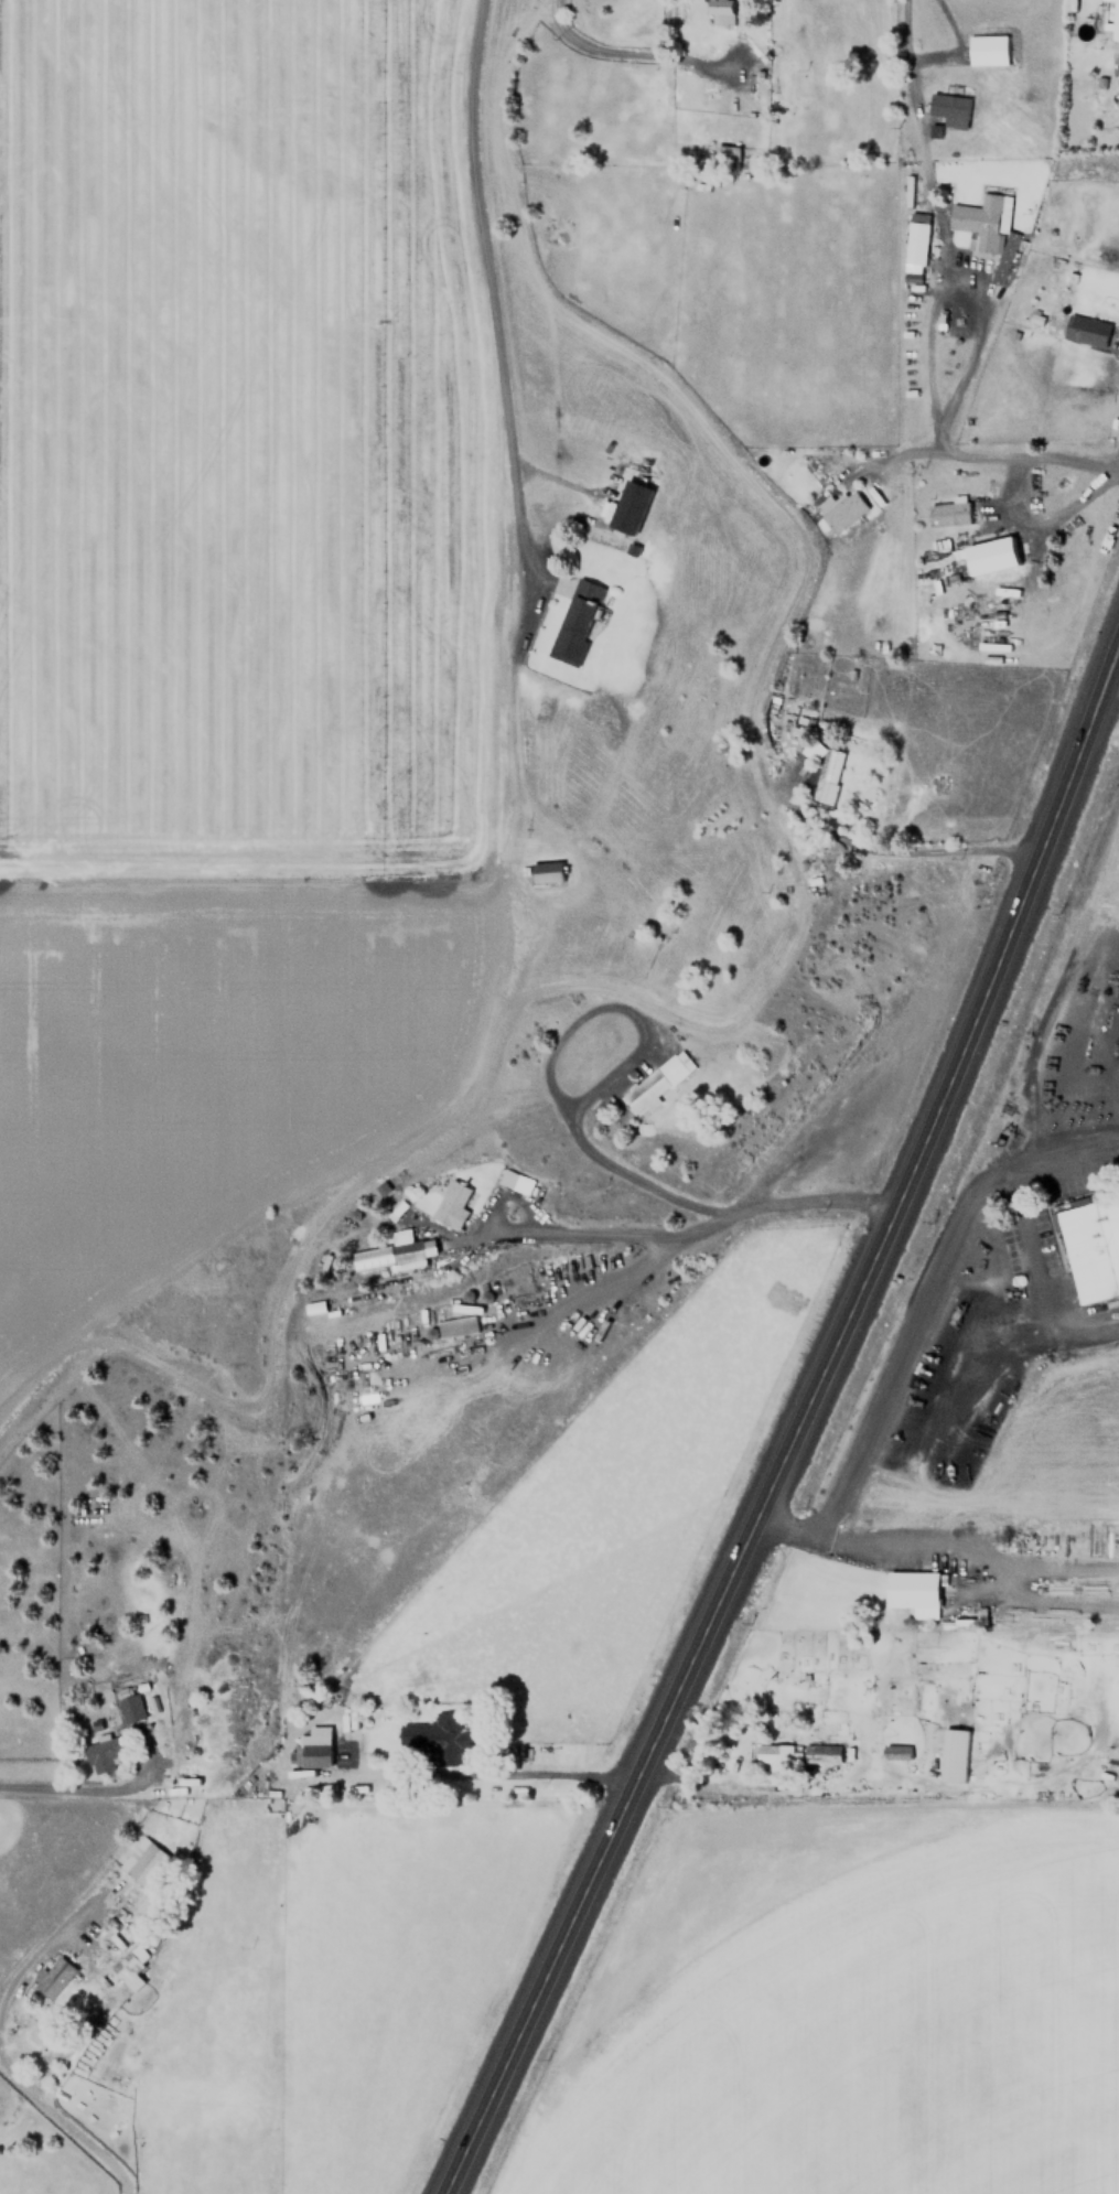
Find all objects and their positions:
building: (719, 12)
building: (1113, 20)
building: (987, 50)
road: (626, 53)
building: (948, 109)
building: (727, 154)
building: (981, 222)
building: (915, 238)
building: (1085, 331)
road: (504, 400)
road: (996, 453)
road: (1013, 484)
building: (626, 505)
building: (840, 508)
building: (948, 514)
building: (990, 556)
building: (575, 622)
building: (825, 777)
building: (546, 872)
road: (797, 884)
road: (553, 900)
building: (656, 1083)
road: (582, 1133)
road: (1061, 1163)
building: (515, 1180)
building: (453, 1204)
road: (590, 1232)
building: (1093, 1247)
building: (407, 1254)
road: (1035, 1279)
road: (560, 1302)
building: (315, 1306)
building: (455, 1325)
road: (902, 1347)
road: (797, 1422)
road: (893, 1541)
building: (913, 1591)
building: (129, 1704)
building: (437, 1738)
building: (314, 1747)
building: (895, 1751)
building: (821, 1753)
building: (105, 1754)
building: (951, 1754)
building: (772, 1756)
road: (493, 1775)
road: (88, 1790)
building: (143, 1863)
road: (37, 1956)
building: (129, 1968)
building: (54, 1978)
crop: (882, 2043)
road: (64, 2117)

